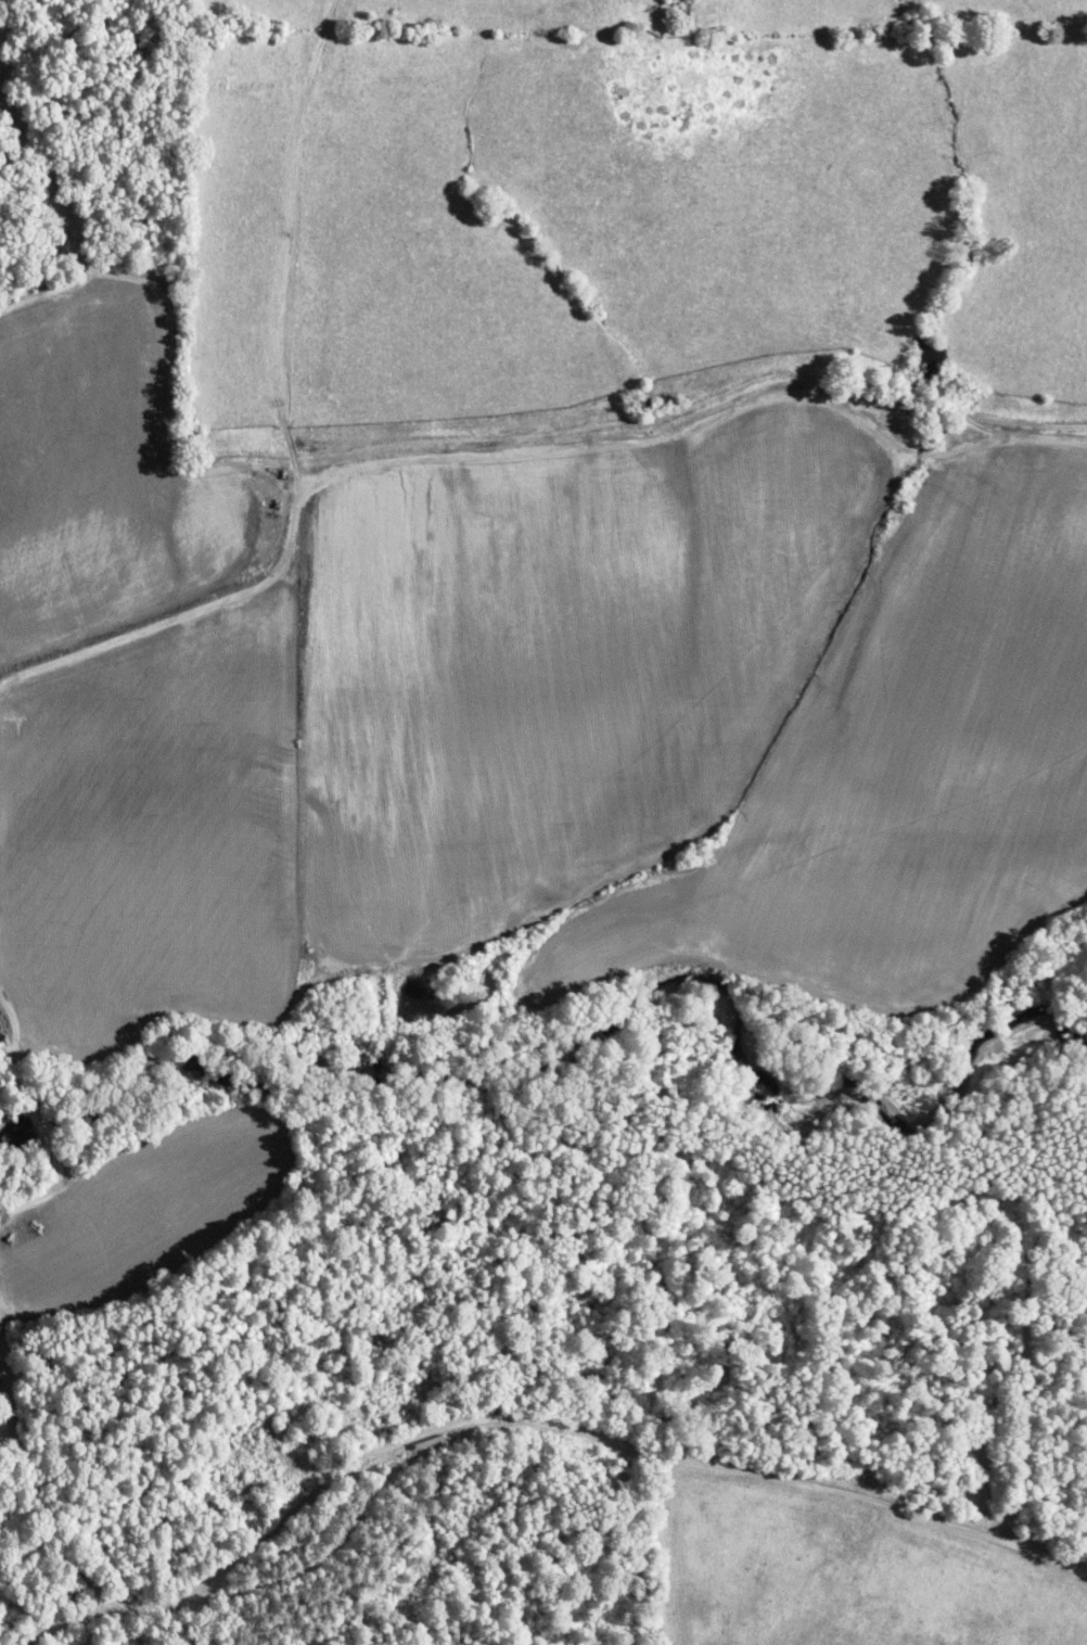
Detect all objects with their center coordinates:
road: (444, 1463)

